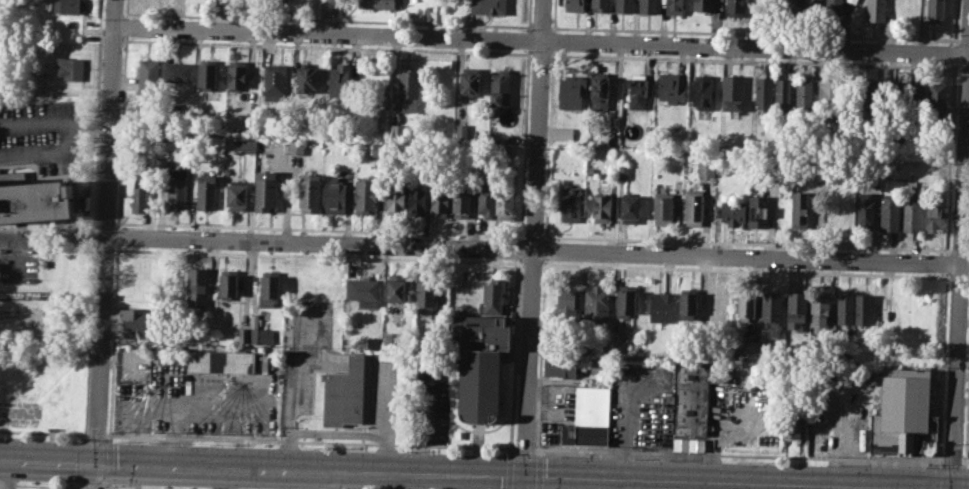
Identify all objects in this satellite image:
building: (854, 1)
building: (377, 4)
building: (574, 5)
building: (599, 5)
building: (622, 5)
building: (702, 5)
building: (68, 6)
building: (488, 6)
building: (647, 6)
building: (674, 6)
building: (735, 7)
building: (792, 8)
building: (813, 8)
building: (935, 9)
building: (833, 10)
building: (875, 10)
building: (429, 13)
road: (328, 17)
road: (541, 40)
building: (72, 68)
building: (178, 71)
building: (236, 74)
building: (206, 76)
building: (306, 77)
building: (339, 79)
building: (470, 81)
building: (149, 83)
building: (275, 85)
building: (34, 86)
building: (599, 88)
building: (670, 88)
building: (638, 89)
building: (499, 90)
building: (569, 90)
building: (407, 91)
building: (702, 92)
building: (732, 92)
building: (762, 92)
building: (828, 93)
building: (804, 94)
building: (783, 95)
building: (895, 95)
building: (916, 95)
building: (874, 96)
building: (936, 98)
building: (614, 123)
road: (33, 124)
building: (397, 131)
building: (462, 132)
building: (562, 132)
parking lot: (40, 136)
building: (501, 139)
building: (246, 145)
road: (68, 147)
building: (296, 147)
building: (378, 148)
building: (706, 169)
building: (622, 172)
building: (265, 190)
building: (207, 192)
building: (310, 192)
building: (177, 193)
building: (364, 194)
building: (238, 195)
building: (334, 195)
building: (144, 197)
building: (33, 198)
building: (395, 202)
building: (416, 202)
building: (570, 203)
building: (438, 204)
building: (461, 205)
building: (484, 205)
building: (504, 205)
building: (694, 206)
building: (602, 208)
building: (663, 208)
building: (629, 209)
building: (800, 209)
building: (758, 210)
building: (865, 211)
building: (733, 212)
building: (889, 213)
building: (912, 213)
building: (933, 217)
road: (105, 244)
road: (533, 244)
road: (17, 249)
road: (537, 253)
parking lot: (19, 255)
road: (959, 271)
building: (230, 283)
building: (197, 287)
building: (397, 288)
building: (270, 289)
building: (362, 290)
building: (425, 293)
building: (492, 297)
building: (626, 300)
building: (688, 303)
building: (565, 304)
building: (596, 304)
building: (718, 305)
building: (661, 306)
building: (745, 307)
building: (844, 308)
building: (797, 309)
building: (864, 309)
building: (820, 310)
building: (771, 312)
building: (138, 322)
building: (261, 333)
building: (243, 335)
building: (618, 347)
building: (226, 360)
building: (480, 366)
building: (559, 366)
building: (599, 366)
building: (345, 393)
building: (691, 399)
road: (196, 409)
building: (902, 412)
building: (589, 417)
building: (792, 420)
flagpole: (356, 427)
road: (172, 436)
building: (968, 443)
building: (692, 444)
traffic signals: (97, 460)
road: (964, 462)
road: (8, 473)
road: (475, 473)
traffic signals: (524, 474)
road: (963, 478)
road: (43, 485)
road: (94, 488)
road: (117, 488)
traffic signals: (952, 488)

